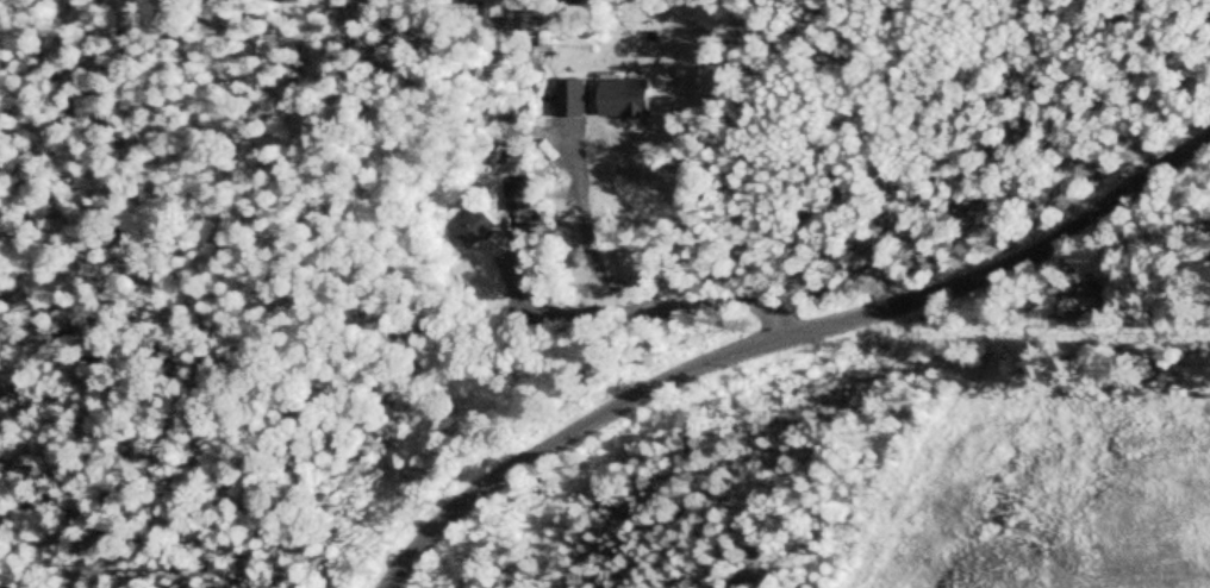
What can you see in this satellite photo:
building: (512, 199)
road: (782, 327)

